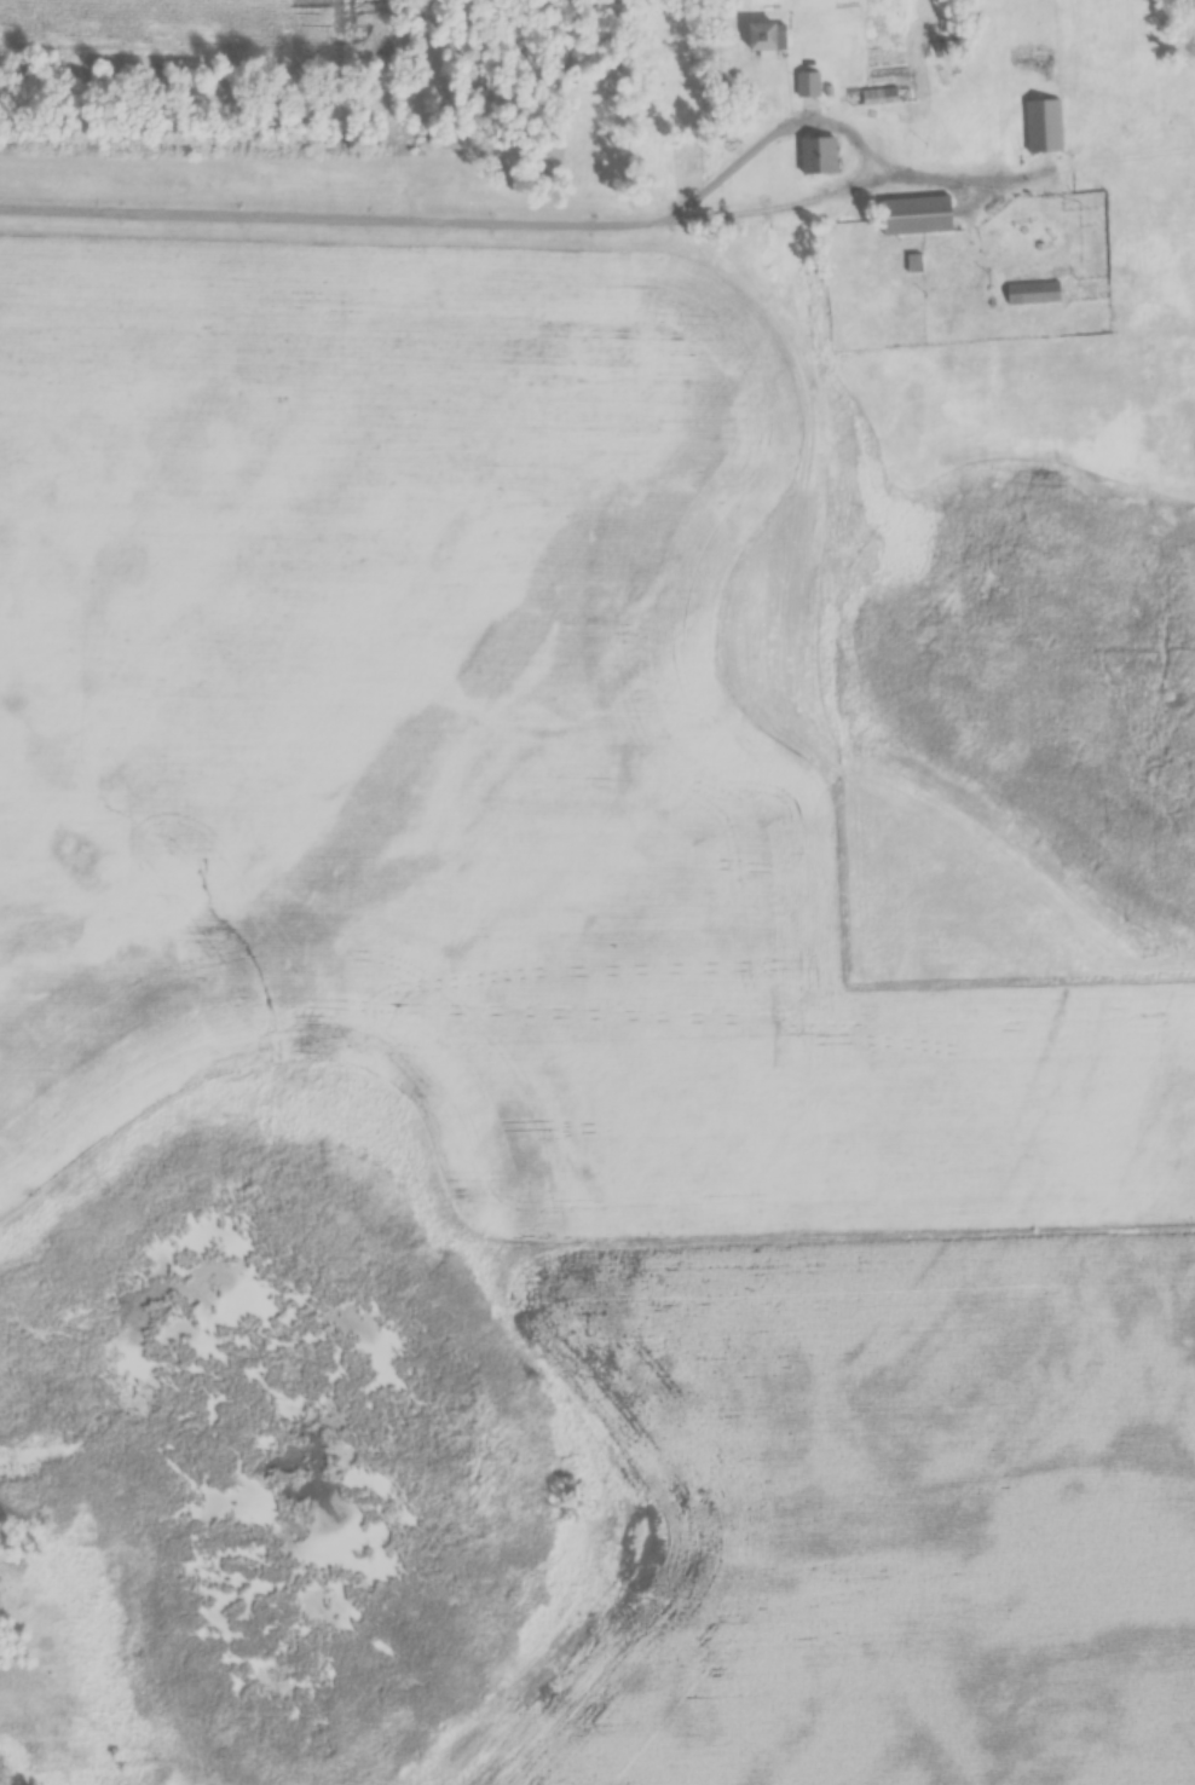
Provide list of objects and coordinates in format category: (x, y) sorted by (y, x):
building: (761, 37)
building: (806, 83)
building: (876, 96)
building: (1041, 126)
building: (814, 156)
building: (913, 215)
road: (503, 221)
building: (1028, 293)

